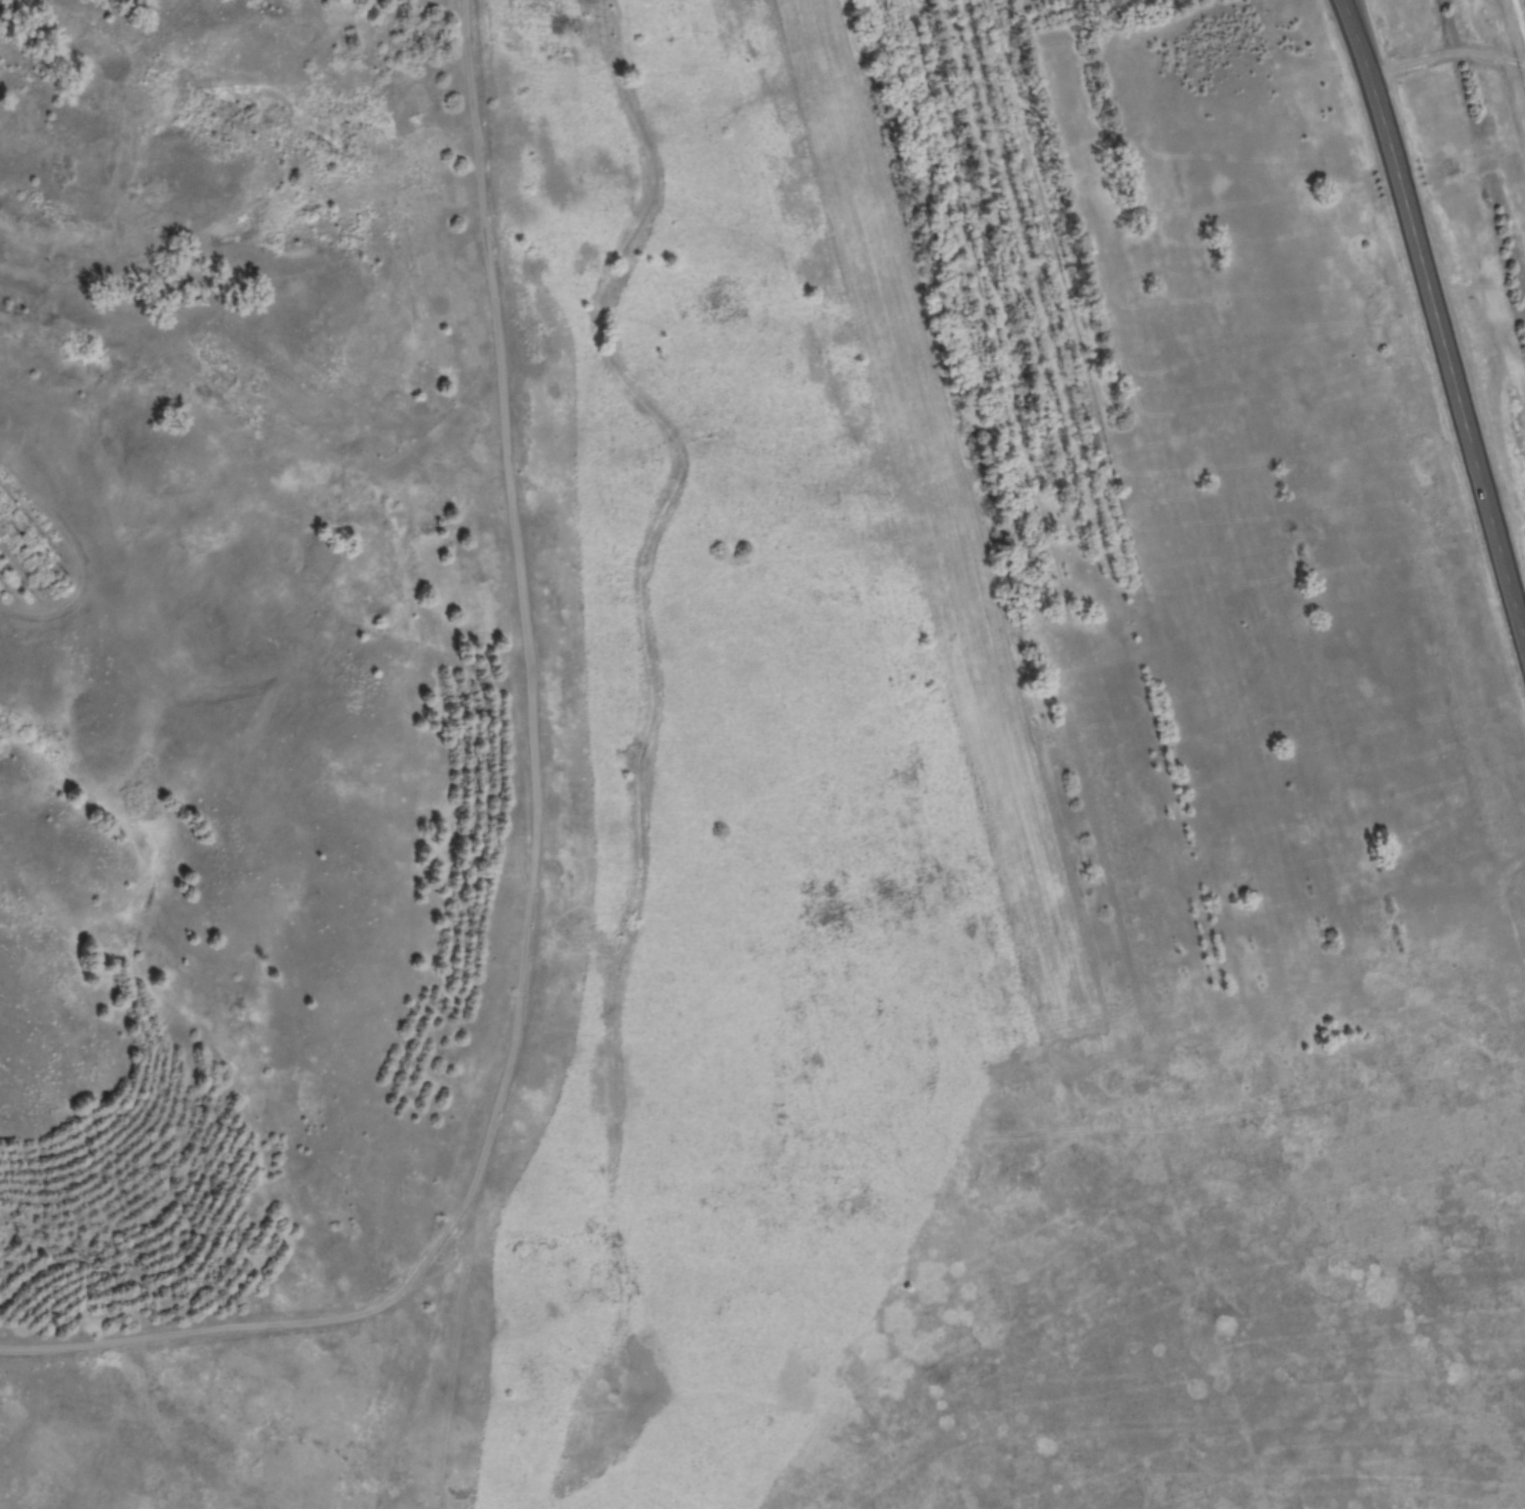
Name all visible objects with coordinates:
road: (1347, 9)
road: (1437, 321)

